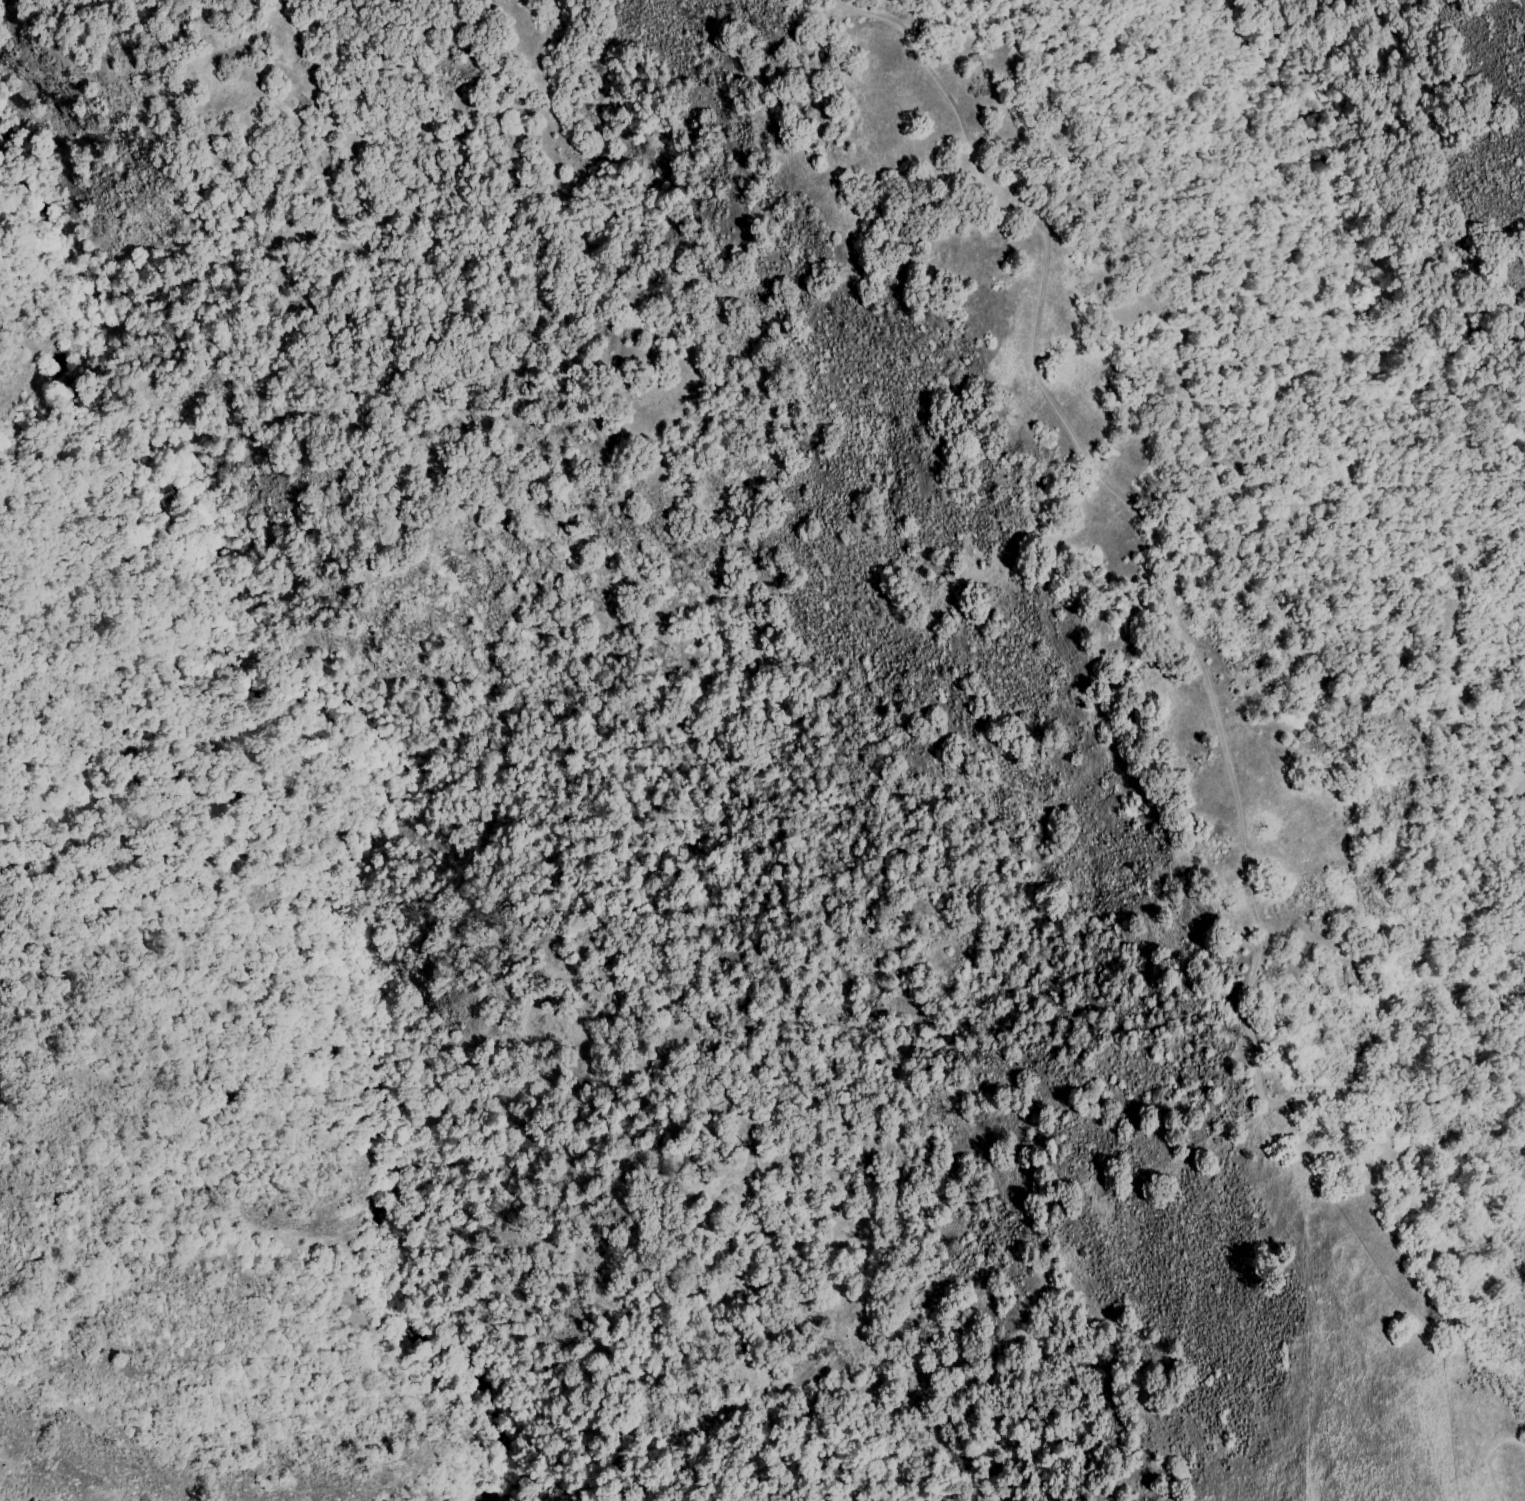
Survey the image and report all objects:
road: (1201, 661)
park: (176, 900)
road: (1491, 1458)

